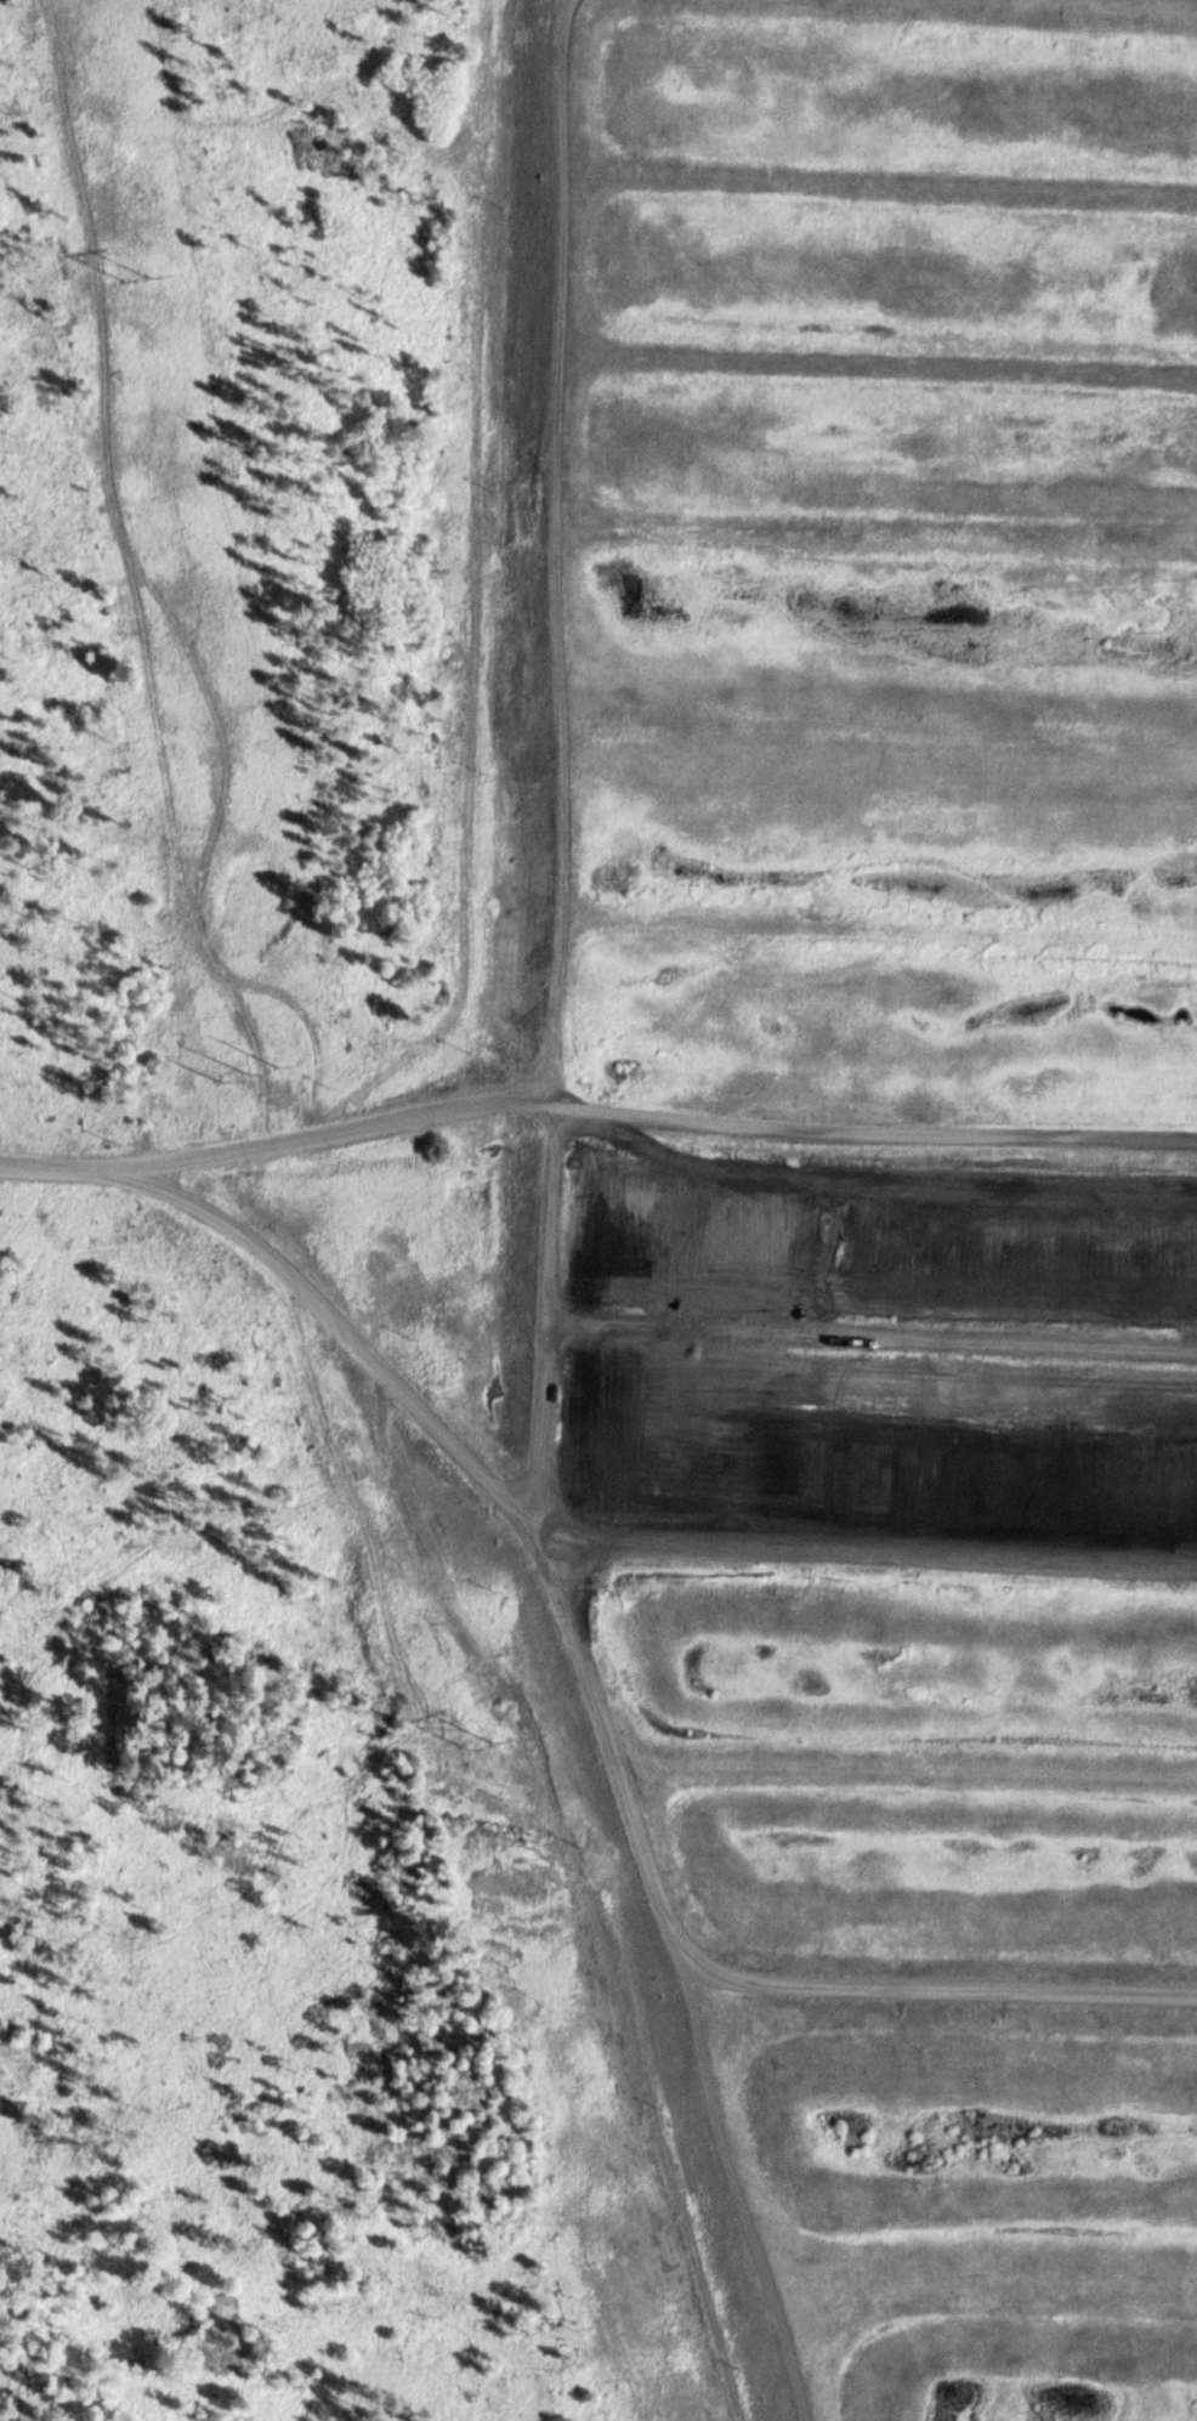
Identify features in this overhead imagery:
power tower: (138, 283)
power tower: (254, 1076)
road: (595, 1109)
road: (523, 1518)
power tower: (489, 1750)

